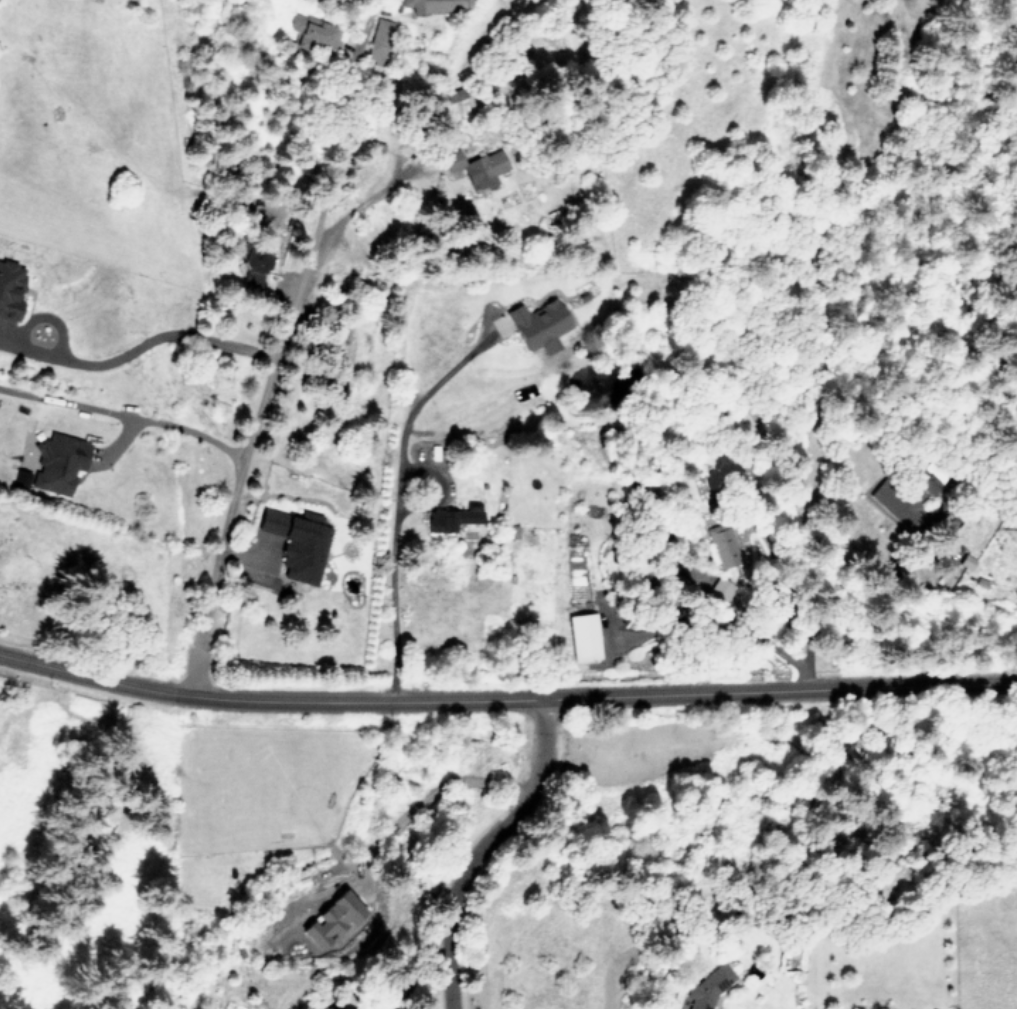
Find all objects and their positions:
building: (434, 5)
building: (311, 32)
building: (379, 41)
building: (478, 166)
road: (365, 202)
building: (10, 288)
building: (538, 324)
road: (148, 345)
road: (276, 347)
road: (69, 403)
road: (420, 404)
road: (168, 422)
building: (59, 463)
building: (22, 477)
building: (905, 500)
building: (453, 517)
building: (299, 543)
building: (724, 545)
building: (967, 561)
building: (720, 589)
road: (391, 593)
road: (824, 603)
building: (584, 637)
road: (95, 678)
road: (604, 696)
road: (434, 793)
road: (478, 847)
building: (332, 917)
road: (412, 969)
building: (709, 986)
building: (328, 1008)

